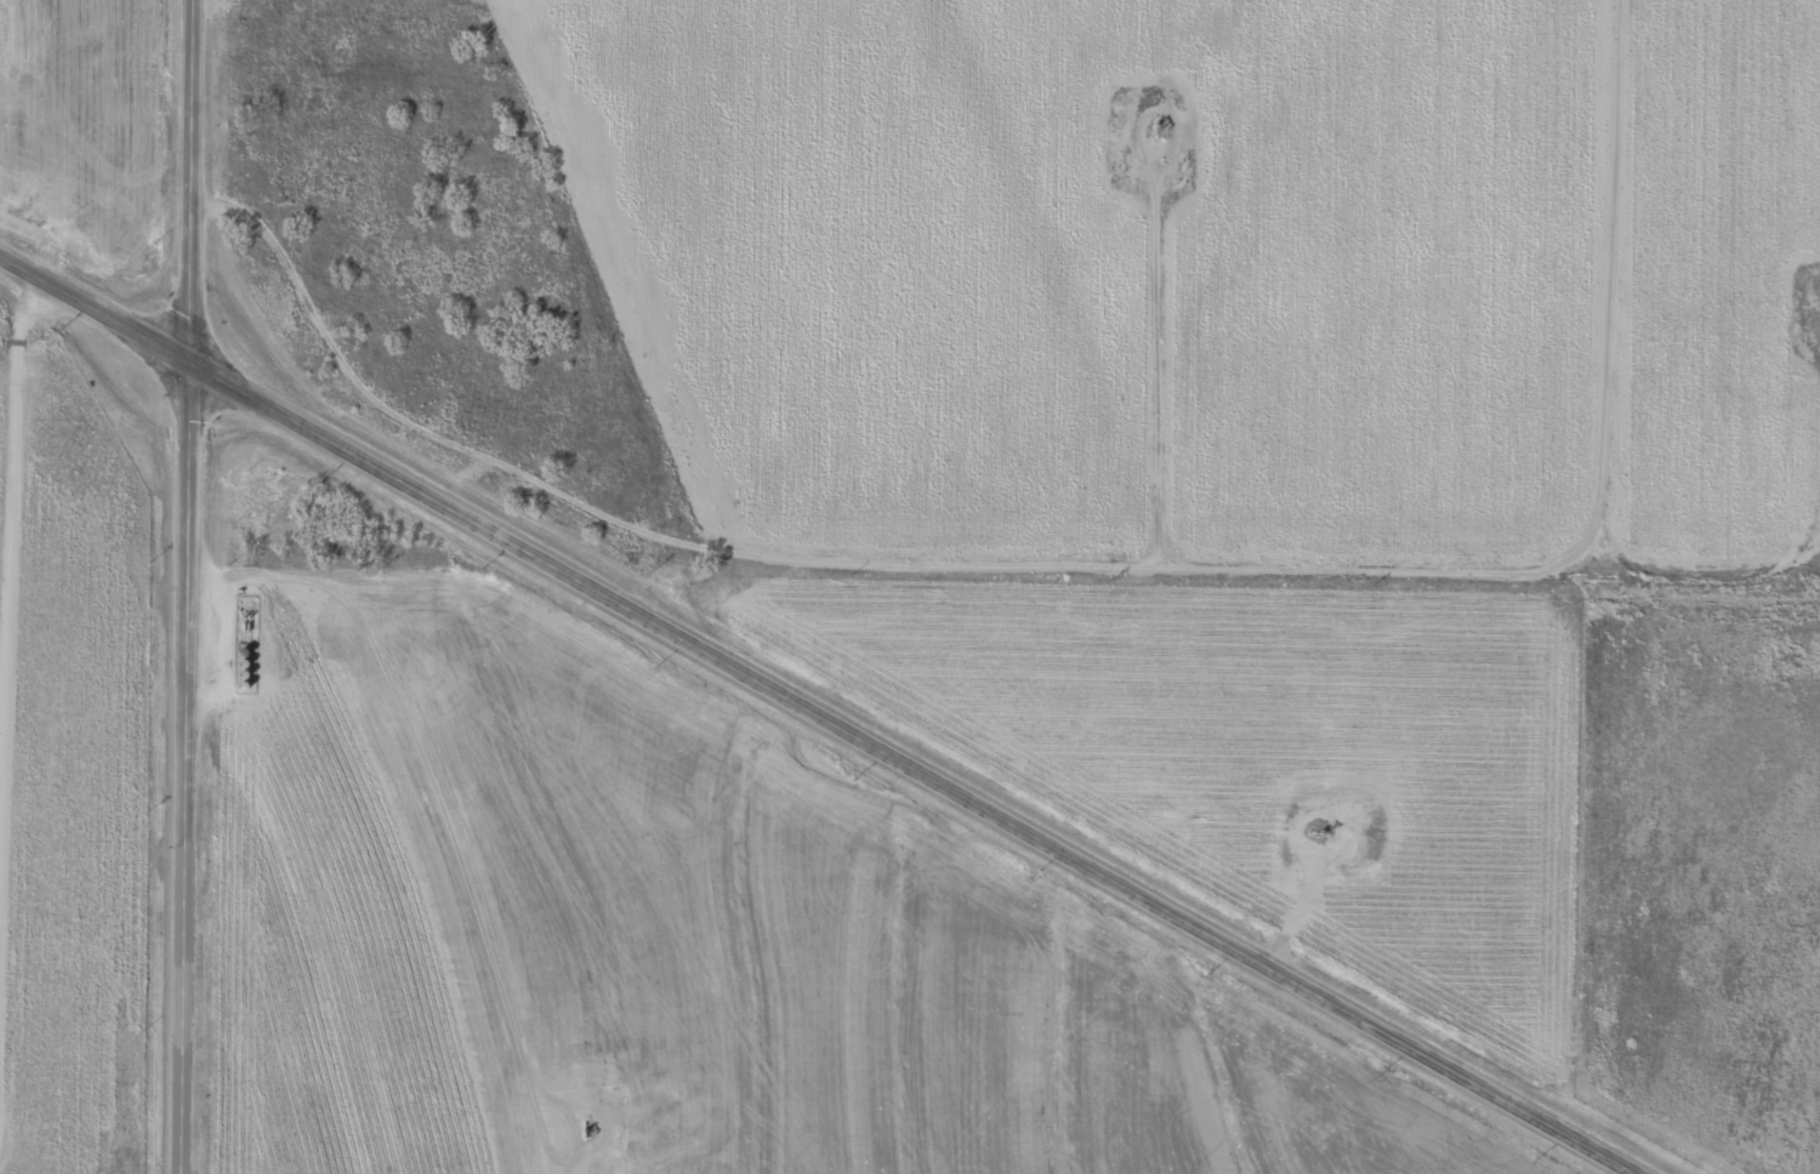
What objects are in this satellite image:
road: (189, 587)
road: (819, 714)
road: (602, 759)

